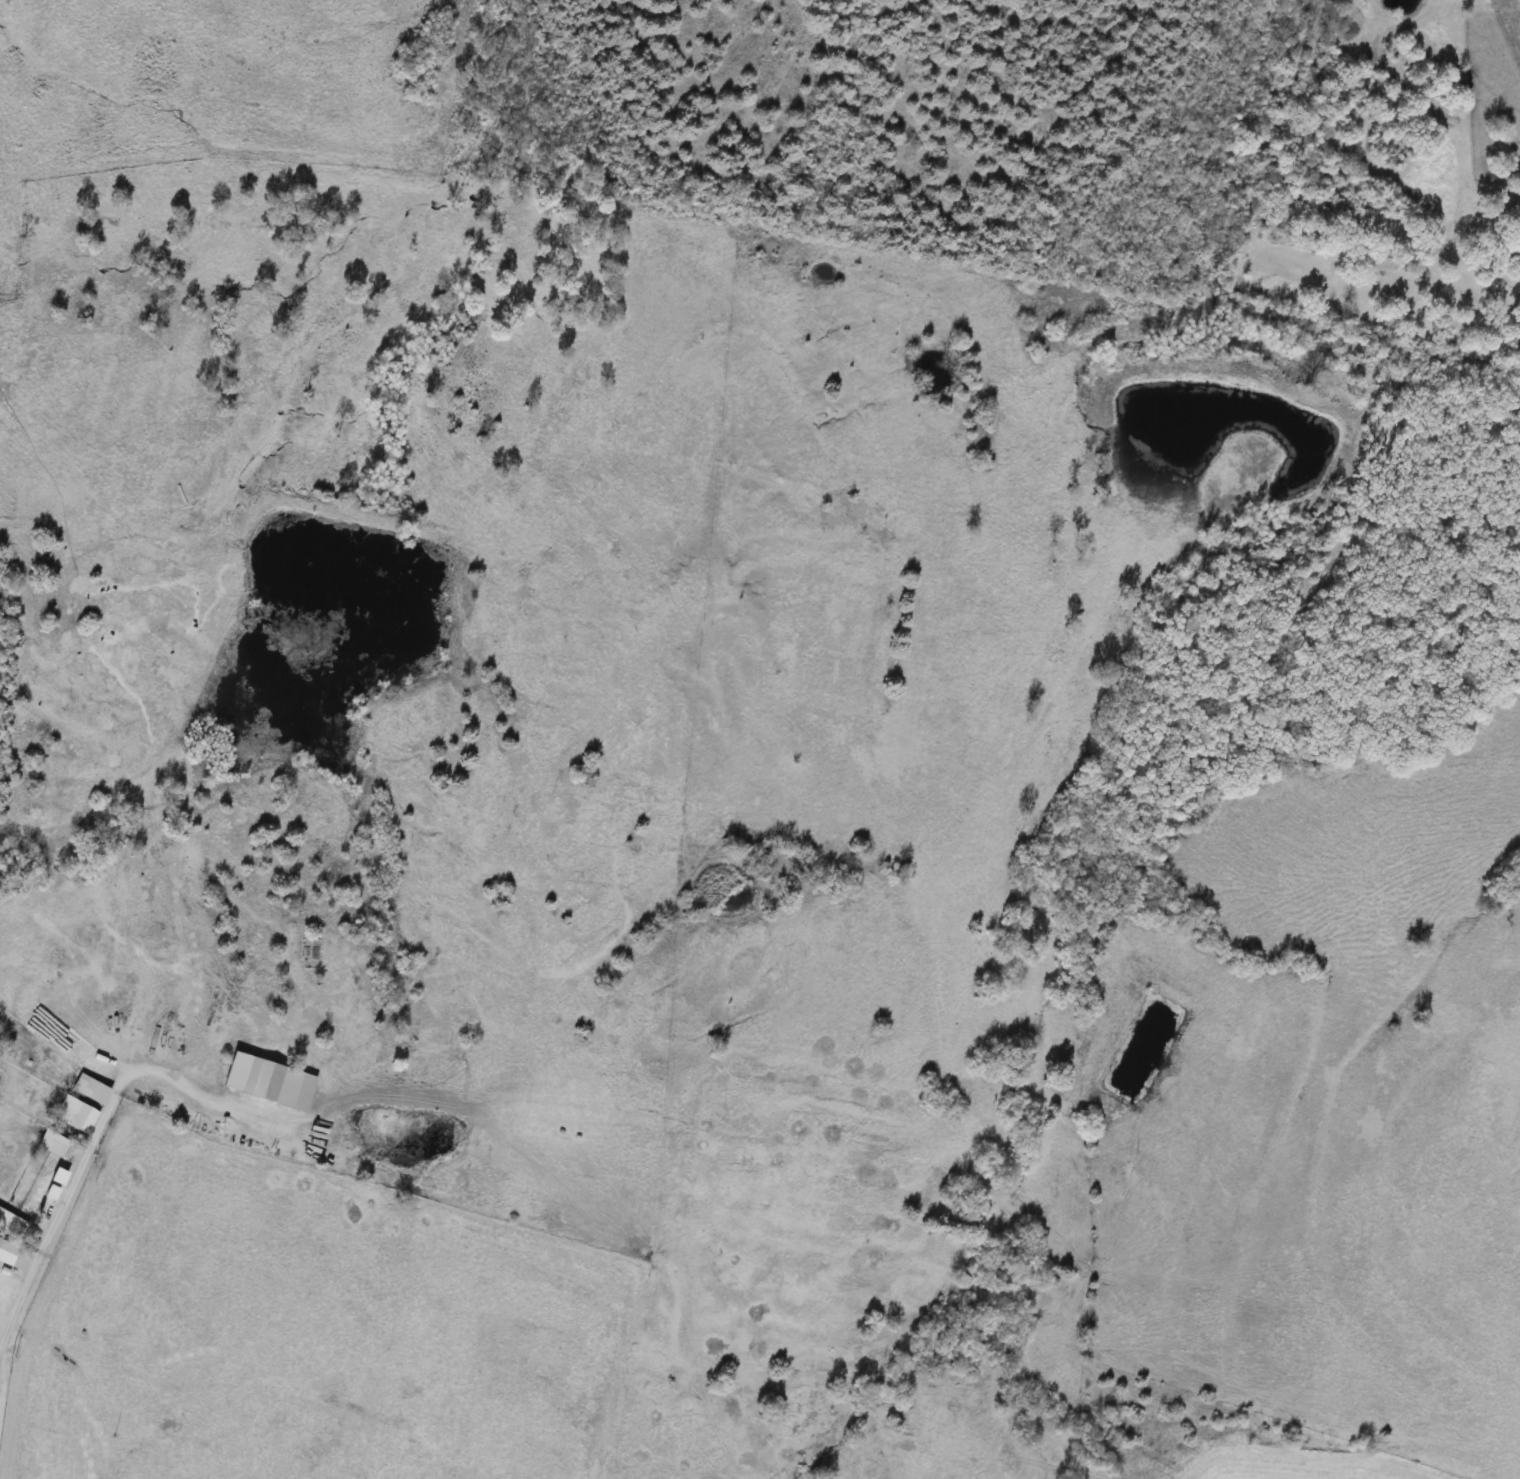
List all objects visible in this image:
building: (258, 1081)
building: (87, 1090)
road: (209, 1098)
building: (73, 1116)
building: (49, 1144)
road: (61, 1207)
building: (11, 1224)
building: (5, 1253)

